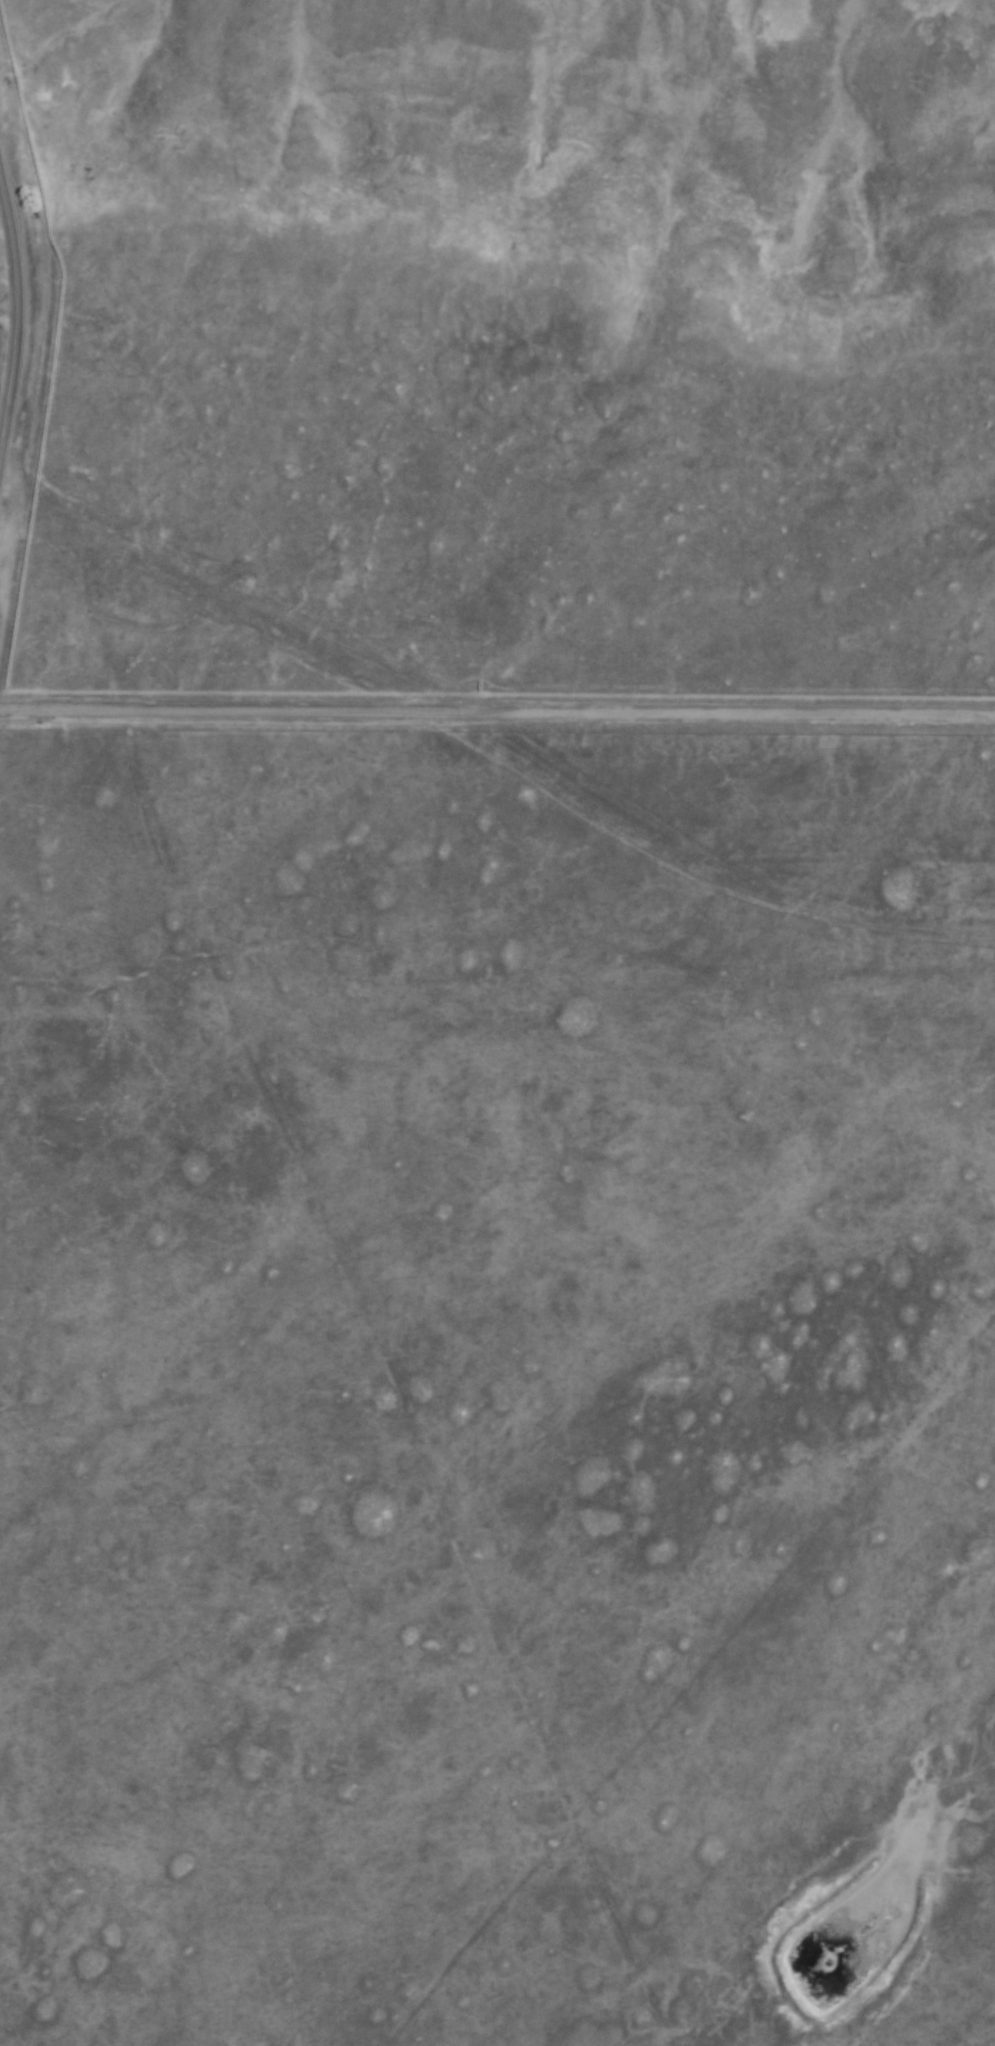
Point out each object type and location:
road: (14, 325)
road: (497, 711)

